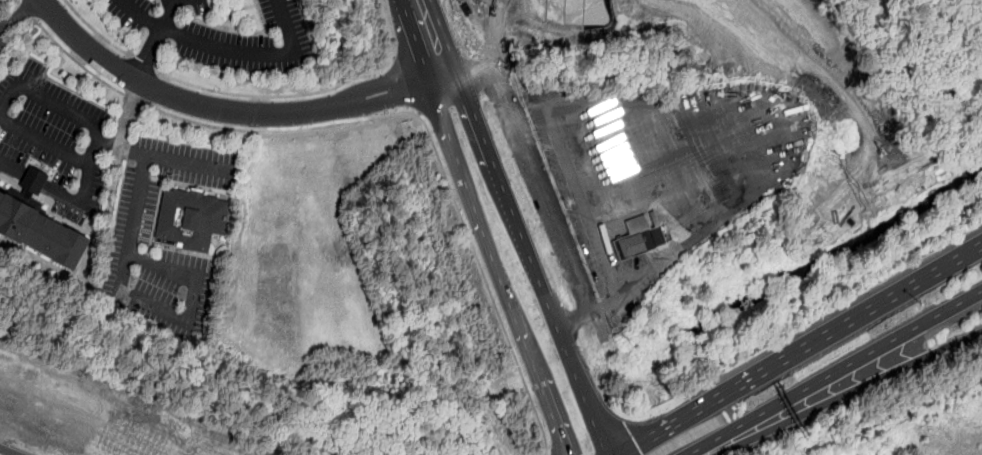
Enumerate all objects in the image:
road: (19, 13)
road: (0, 28)
road: (155, 35)
parking lot: (223, 35)
road: (428, 40)
parking lot: (2, 42)
road: (108, 42)
road: (231, 52)
road: (75, 60)
road: (141, 63)
road: (279, 97)
road: (135, 100)
road: (53, 102)
road: (224, 113)
road: (128, 116)
road: (472, 116)
parking lot: (52, 142)
road: (45, 143)
road: (121, 150)
road: (437, 153)
road: (463, 174)
building: (35, 180)
road: (69, 195)
parking lot: (135, 217)
building: (191, 219)
road: (516, 227)
building: (41, 235)
road: (596, 236)
building: (641, 236)
road: (124, 272)
road: (968, 302)
street lamp: (921, 303)
road: (868, 311)
road: (519, 323)
road: (575, 374)
road: (823, 382)
road: (838, 393)
road: (688, 416)
road: (553, 417)

